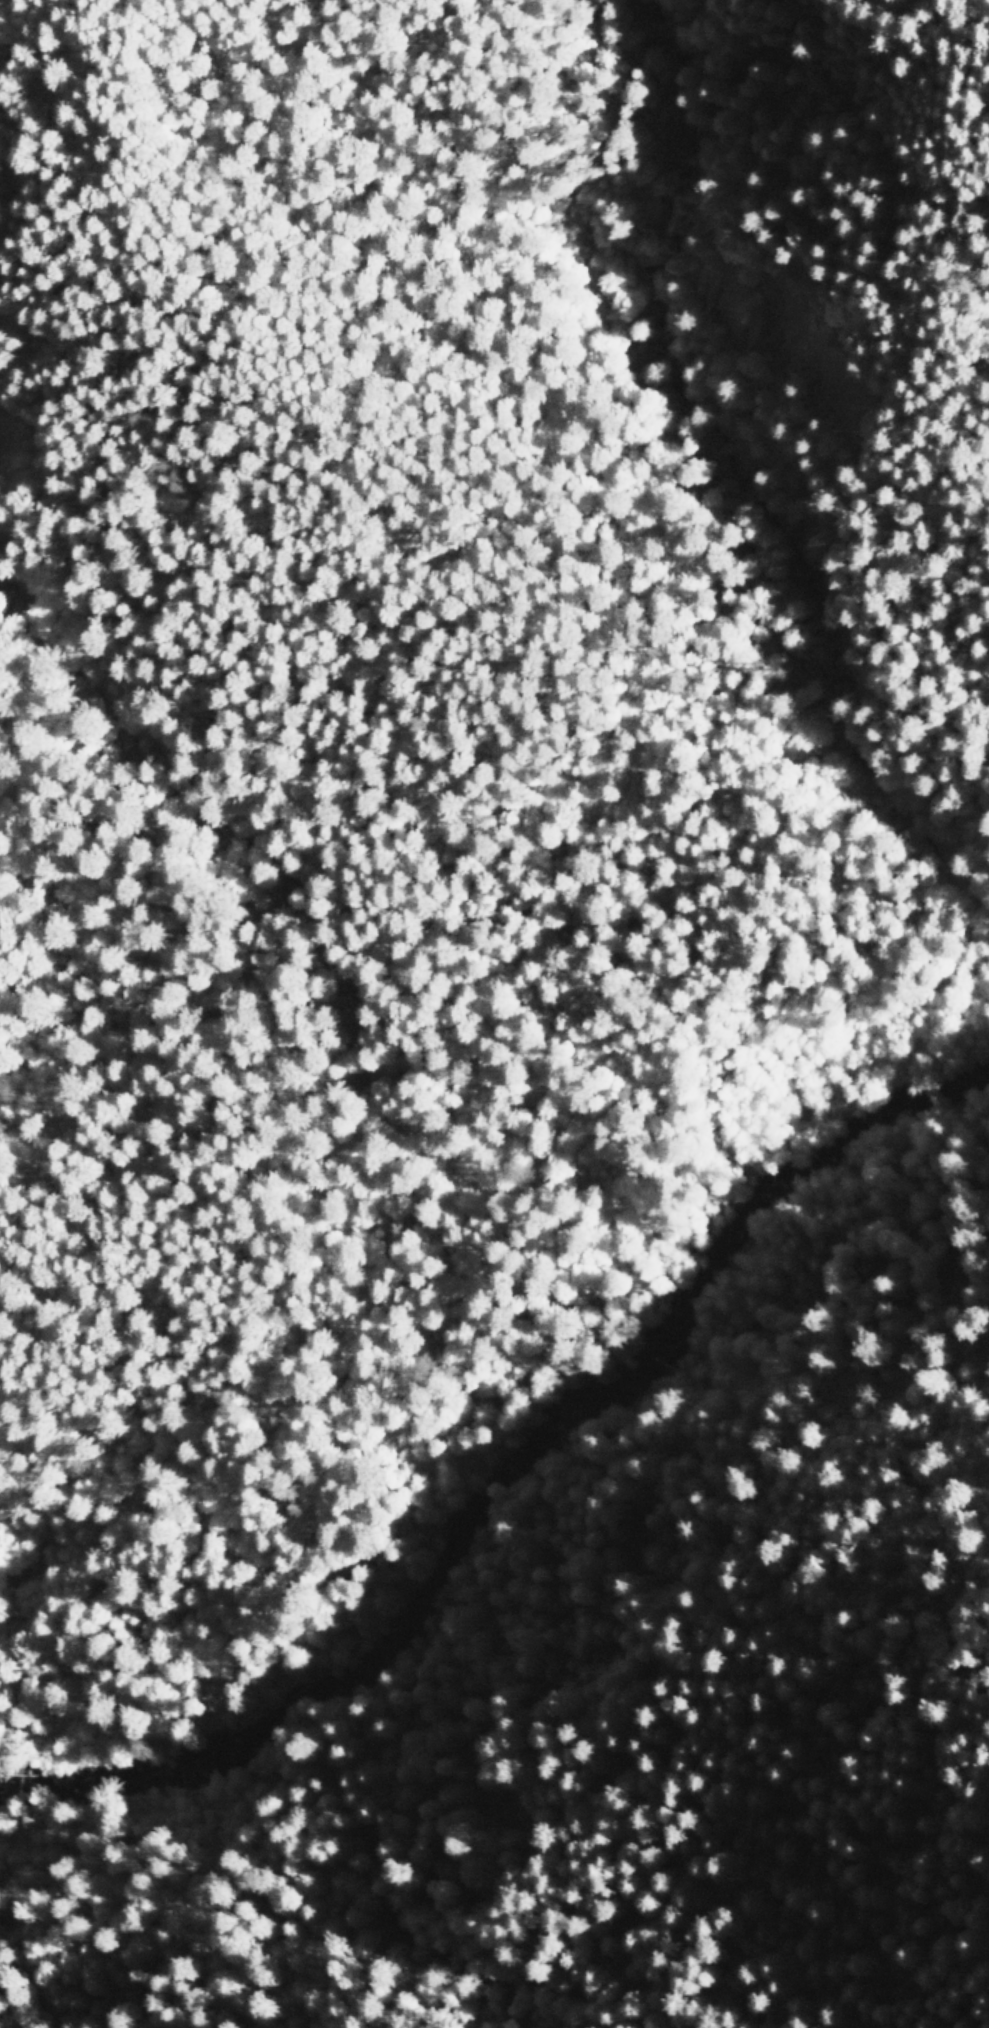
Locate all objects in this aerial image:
river: (505, 1454)

